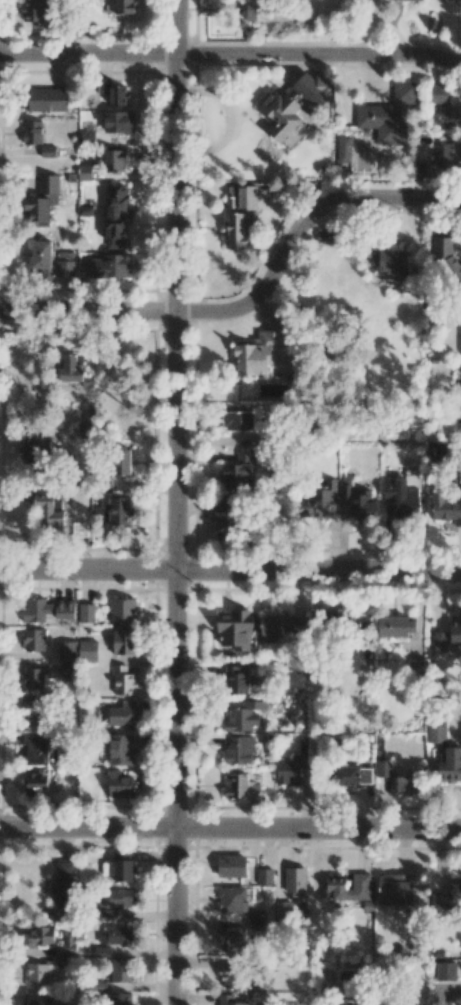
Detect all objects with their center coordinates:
building: (117, 6)
building: (32, 11)
building: (266, 12)
road: (230, 55)
building: (113, 92)
building: (45, 99)
building: (446, 101)
building: (293, 103)
building: (389, 115)
building: (118, 121)
building: (32, 132)
building: (87, 137)
building: (343, 149)
building: (48, 151)
building: (451, 154)
building: (114, 160)
building: (84, 169)
building: (426, 170)
building: (116, 195)
building: (241, 198)
building: (42, 202)
building: (236, 230)
building: (327, 236)
building: (41, 254)
building: (445, 258)
building: (390, 263)
building: (64, 264)
building: (111, 266)
road: (254, 296)
building: (460, 326)
building: (262, 352)
building: (459, 367)
building: (70, 369)
building: (459, 389)
building: (237, 420)
building: (460, 424)
building: (85, 430)
building: (37, 453)
building: (122, 461)
building: (239, 471)
building: (402, 497)
building: (322, 499)
road: (176, 502)
building: (359, 502)
building: (446, 507)
building: (49, 509)
building: (116, 509)
building: (225, 517)
road: (230, 570)
building: (46, 609)
building: (123, 609)
building: (86, 613)
building: (297, 624)
building: (396, 626)
building: (271, 627)
building: (234, 629)
building: (448, 636)
building: (34, 639)
building: (123, 642)
building: (87, 650)
building: (67, 651)
building: (416, 666)
building: (67, 669)
building: (37, 679)
building: (236, 679)
building: (123, 680)
building: (33, 711)
building: (122, 715)
building: (244, 716)
building: (436, 732)
building: (37, 747)
building: (121, 749)
building: (239, 750)
building: (449, 764)
building: (292, 766)
building: (383, 768)
building: (353, 775)
building: (36, 781)
building: (407, 784)
building: (119, 785)
building: (240, 787)
road: (230, 829)
building: (123, 866)
building: (231, 866)
building: (264, 876)
building: (295, 881)
building: (64, 885)
building: (335, 886)
building: (361, 889)
building: (396, 890)
building: (448, 895)
building: (118, 898)
building: (232, 899)
building: (283, 910)
building: (256, 915)
building: (40, 936)
building: (117, 936)
building: (231, 937)
building: (68, 944)
building: (102, 951)
building: (121, 970)
building: (446, 974)
building: (37, 975)
building: (231, 977)
building: (35, 998)
building: (119, 999)
building: (229, 1000)
building: (343, 1003)

